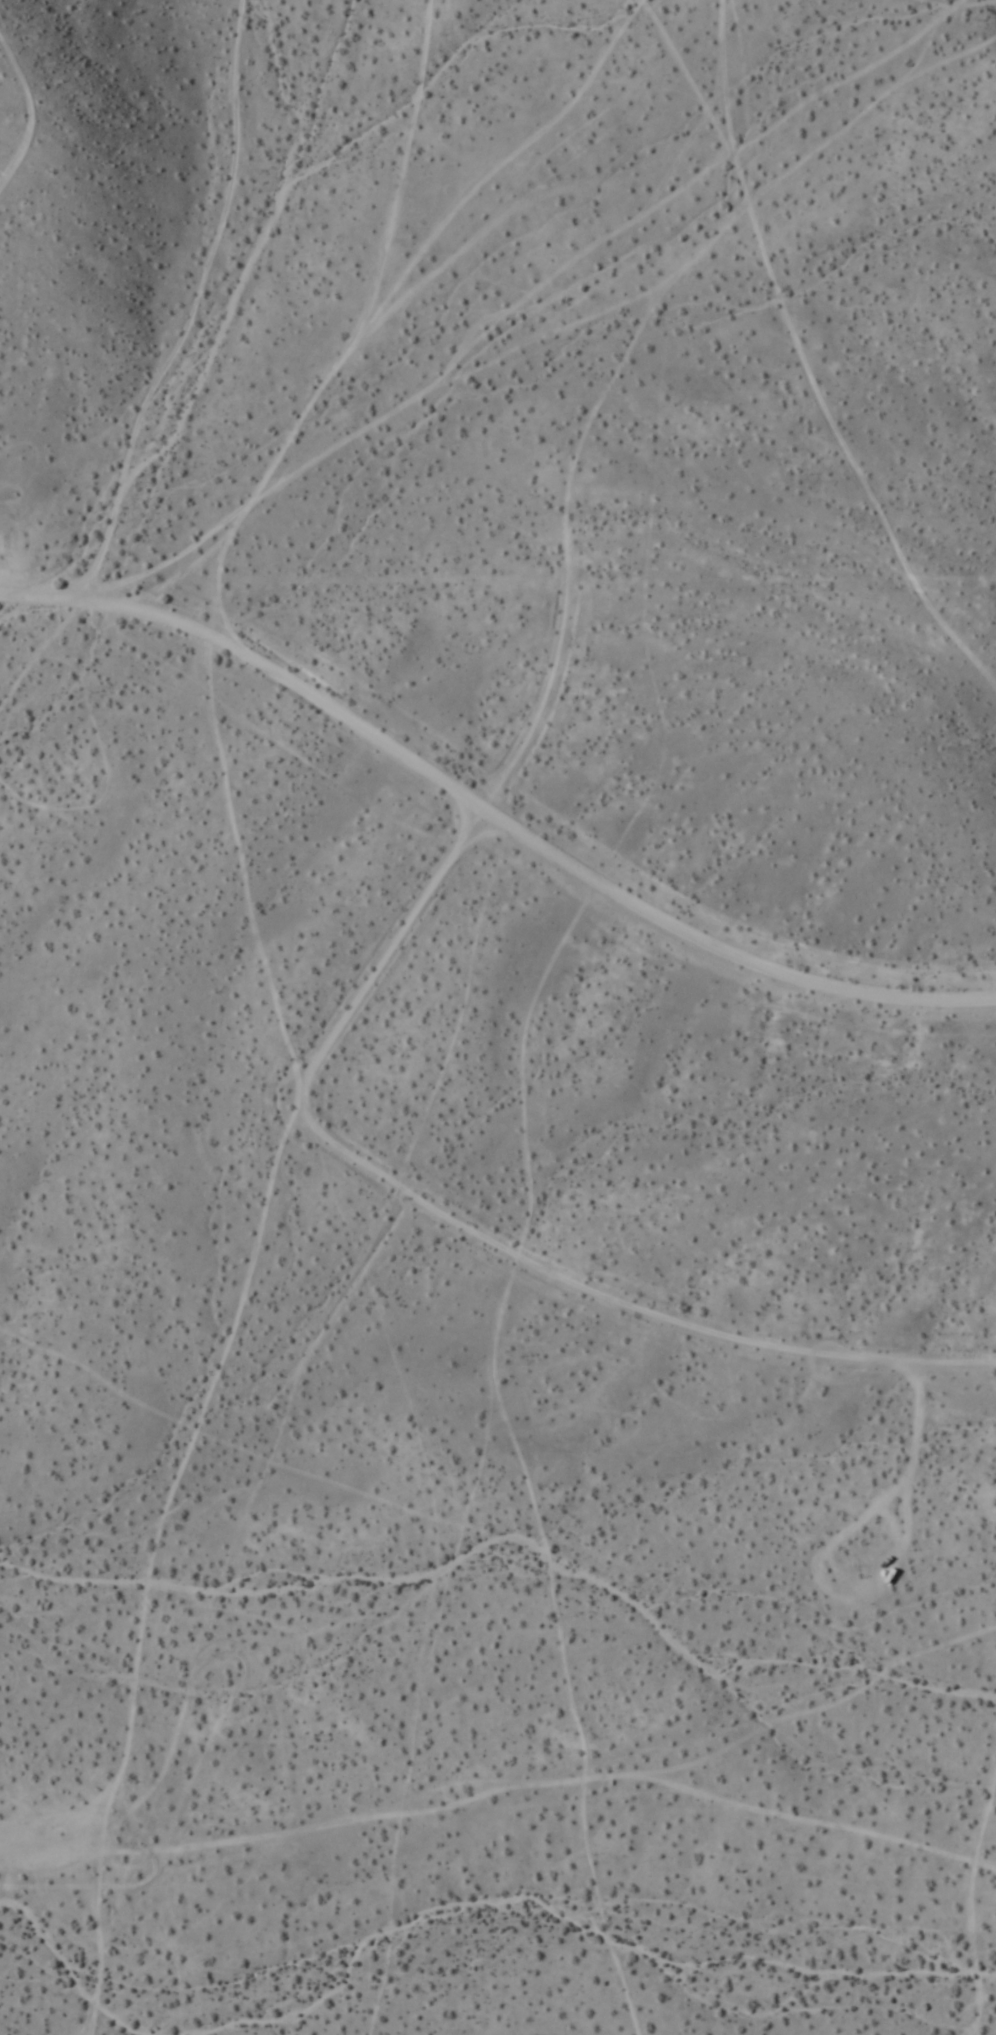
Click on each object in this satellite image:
road: (17, 156)
road: (492, 820)
road: (389, 959)
road: (623, 1303)

